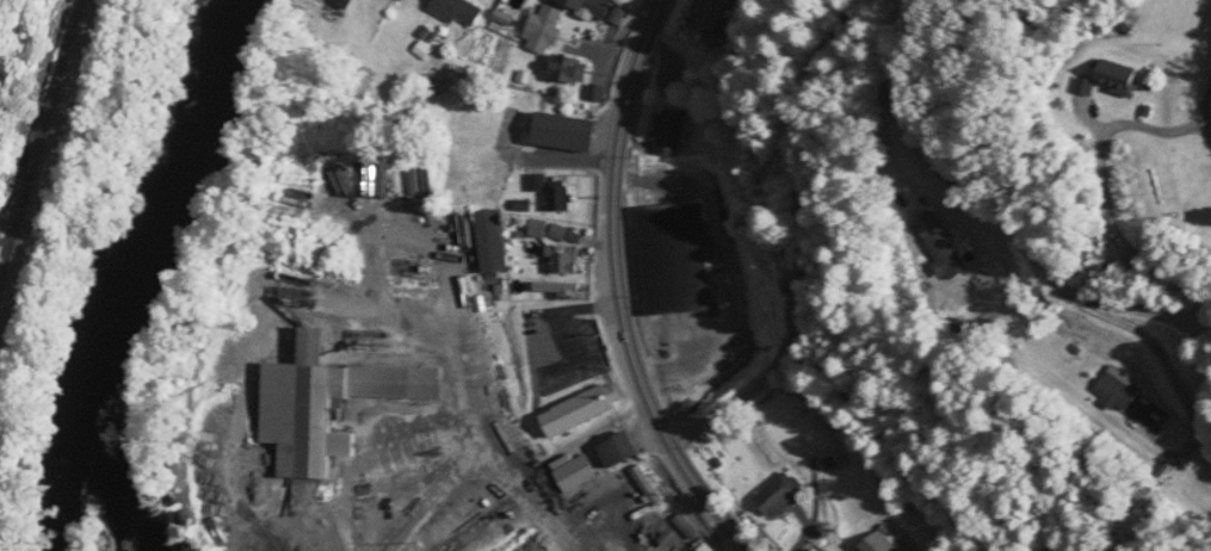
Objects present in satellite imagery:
building: (348, 1)
building: (588, 6)
building: (458, 10)
building: (706, 13)
building: (543, 26)
building: (564, 68)
building: (1113, 78)
road: (1206, 123)
building: (561, 131)
building: (667, 131)
railway: (37, 142)
road: (888, 155)
railway: (44, 167)
building: (536, 181)
building: (557, 196)
building: (536, 227)
road: (799, 235)
building: (489, 239)
building: (944, 255)
building: (561, 258)
building: (673, 258)
building: (410, 267)
river: (141, 277)
road: (619, 290)
road: (1135, 305)
road: (1169, 373)
building: (1114, 389)
building: (579, 407)
building: (313, 411)
road: (475, 427)
road: (920, 434)
building: (616, 447)
building: (574, 471)
building: (778, 493)
building: (876, 543)

